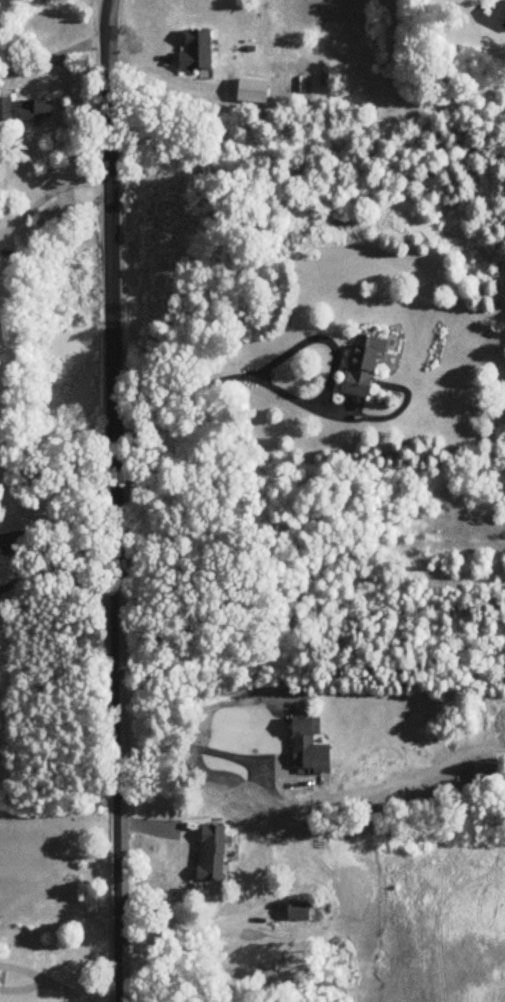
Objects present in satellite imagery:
road: (54, 56)
building: (39, 109)
building: (7, 110)
road: (47, 191)
road: (279, 358)
building: (365, 367)
road: (116, 500)
building: (311, 749)
road: (197, 752)
building: (214, 854)
building: (300, 912)
road: (192, 924)
road: (24, 969)
road: (22, 989)
road: (65, 991)

